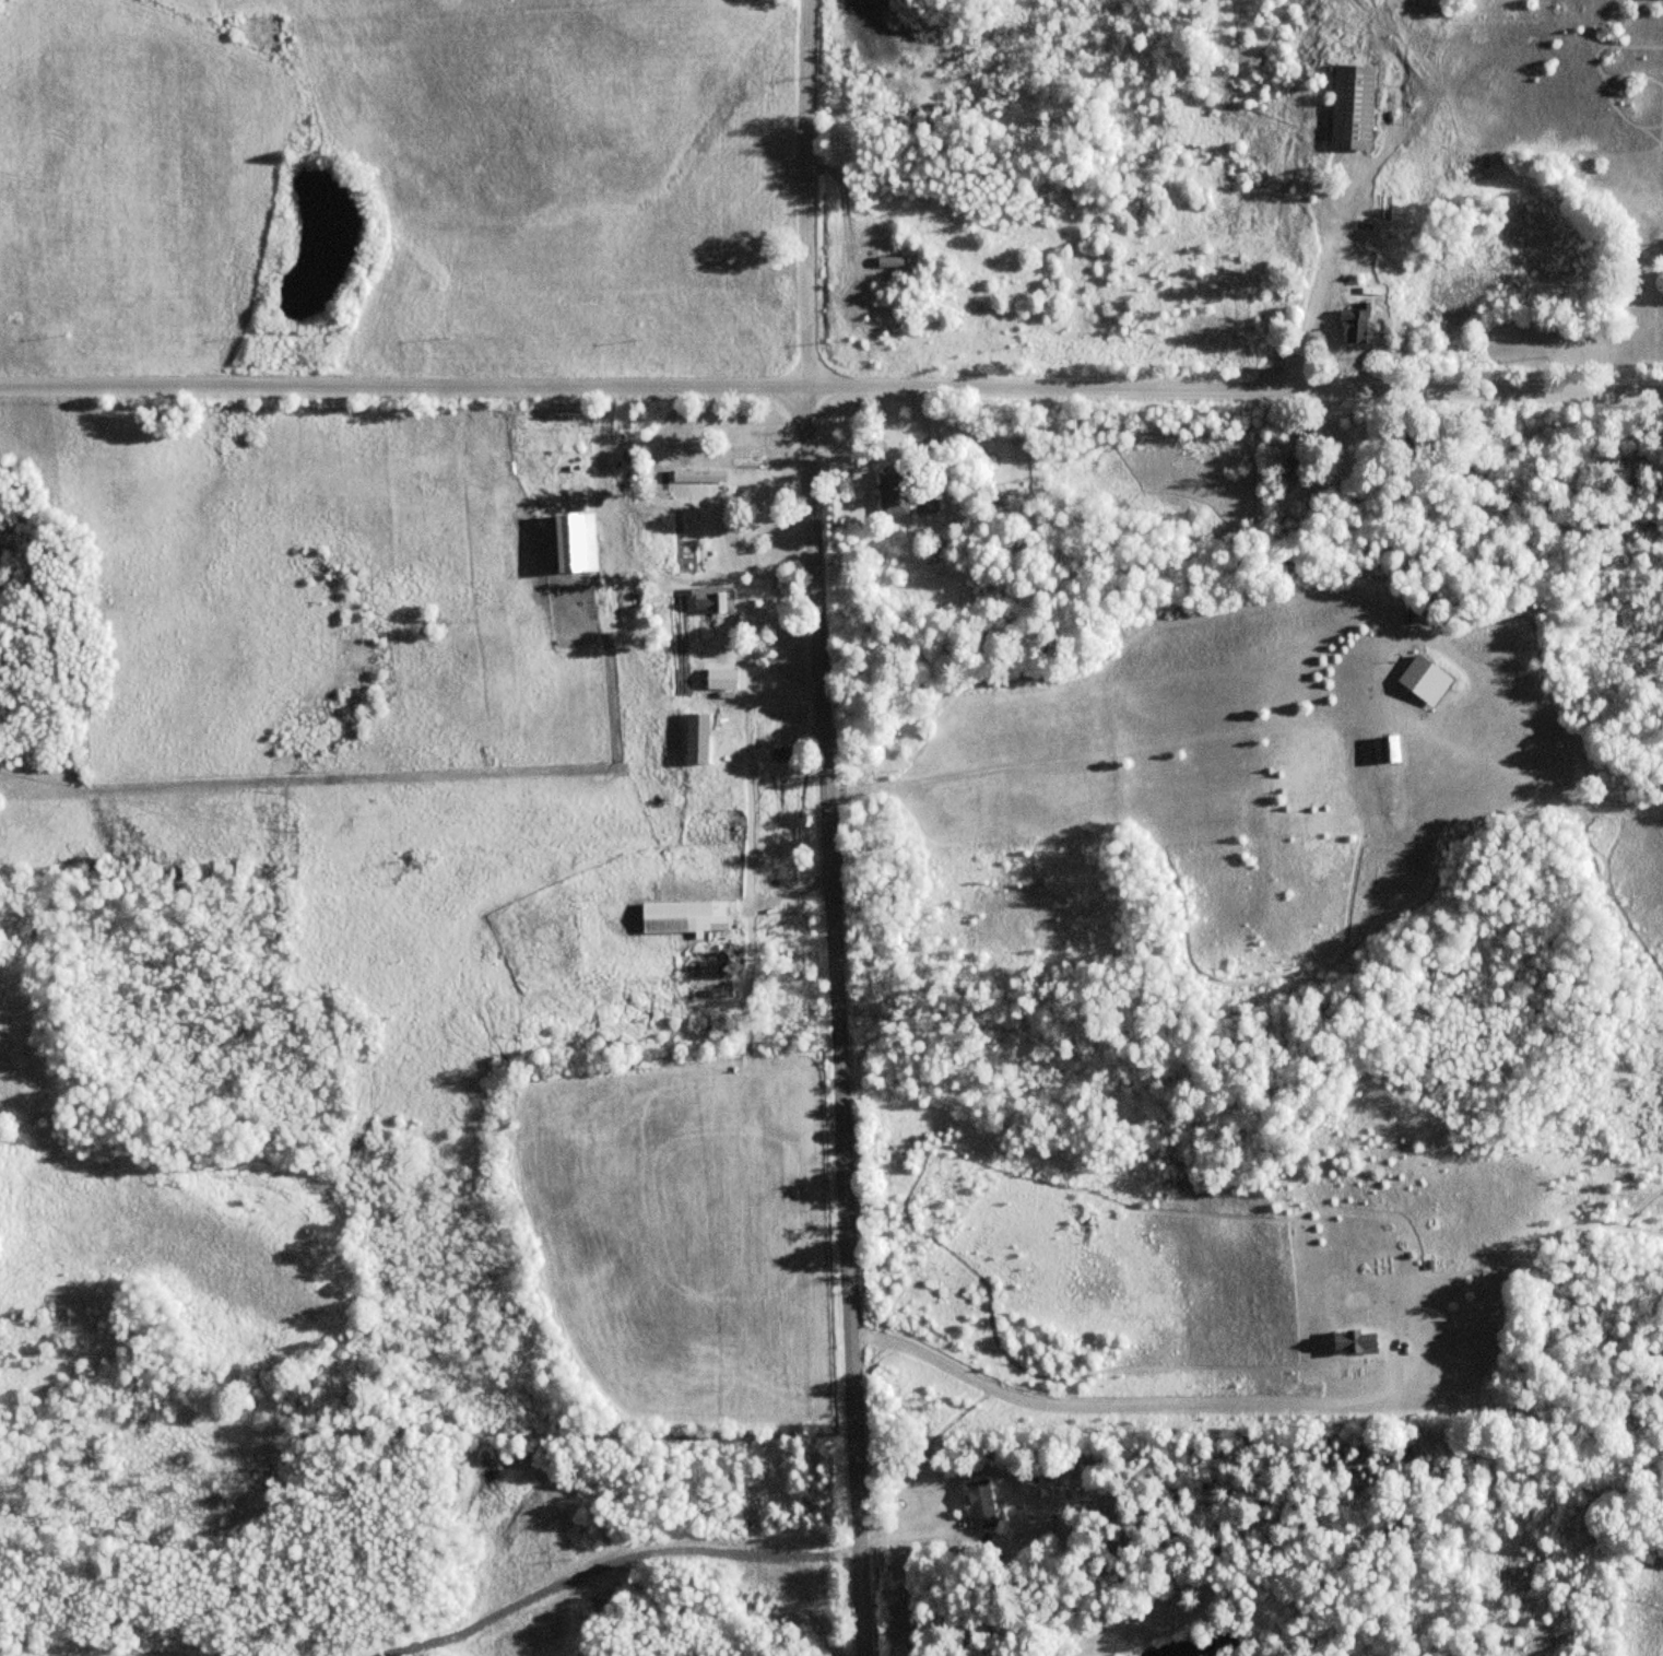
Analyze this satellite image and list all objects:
building: (1352, 107)
building: (1355, 325)
road: (403, 385)
road: (1235, 387)
building: (889, 492)
building: (924, 502)
building: (665, 594)
building: (706, 602)
building: (1423, 681)
building: (779, 755)
road: (837, 827)
building: (684, 916)
building: (1352, 1341)
building: (979, 1503)

